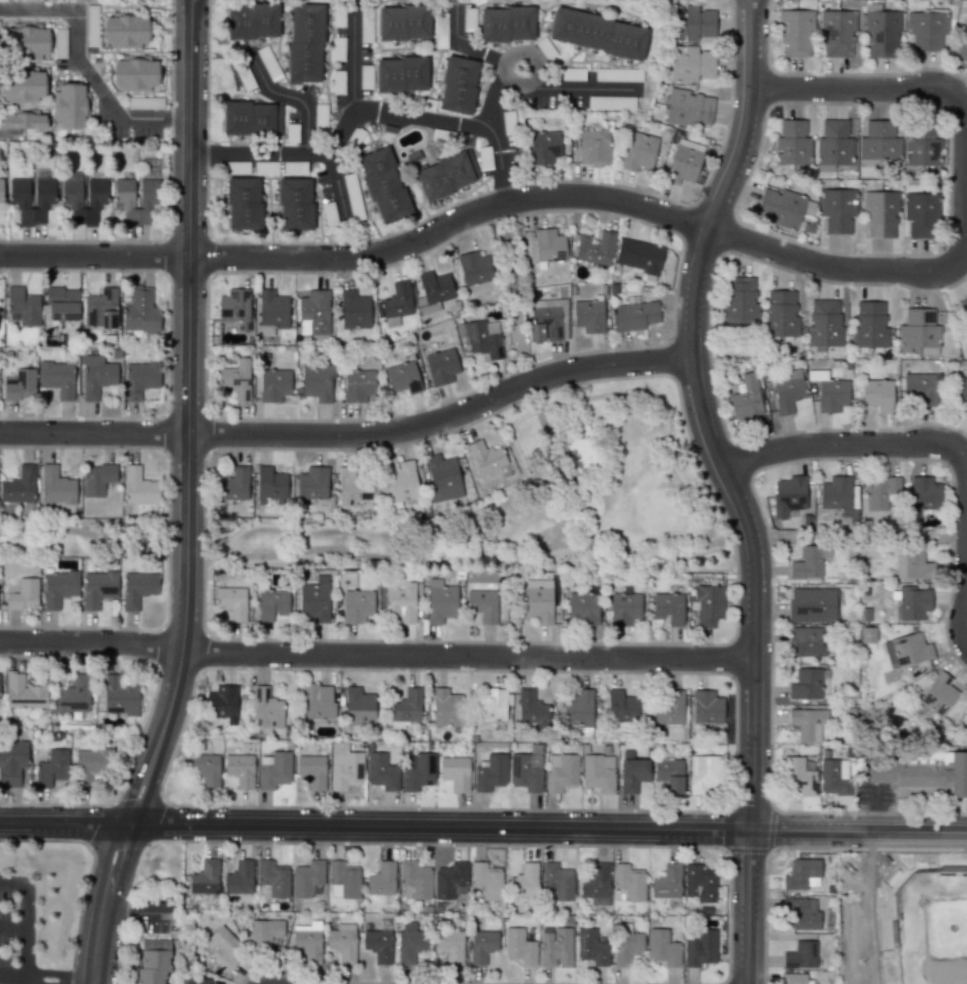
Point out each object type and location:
building: (252, 21)
building: (690, 22)
building: (404, 23)
building: (506, 24)
building: (125, 31)
building: (925, 31)
building: (795, 32)
building: (837, 32)
building: (598, 33)
building: (881, 33)
building: (26, 40)
building: (304, 43)
building: (961, 47)
building: (545, 49)
road: (494, 59)
building: (690, 64)
road: (352, 65)
road: (81, 71)
building: (134, 73)
building: (400, 74)
building: (22, 85)
building: (457, 85)
road: (557, 89)
road: (293, 95)
building: (71, 106)
building: (689, 108)
road: (364, 111)
street lamp: (209, 116)
building: (251, 119)
building: (22, 120)
building: (879, 141)
building: (792, 143)
building: (833, 145)
building: (921, 145)
building: (543, 147)
building: (593, 147)
building: (638, 151)
building: (684, 161)
building: (446, 175)
building: (383, 185)
building: (1, 189)
building: (18, 191)
building: (96, 191)
building: (123, 191)
street lamp: (691, 201)
building: (243, 203)
road: (966, 203)
building: (294, 204)
building: (781, 207)
building: (837, 209)
building: (879, 214)
building: (921, 215)
street lamp: (493, 223)
building: (548, 246)
building: (595, 248)
road: (361, 257)
building: (639, 257)
building: (474, 268)
street lamp: (211, 277)
building: (433, 291)
building: (740, 300)
building: (396, 301)
building: (61, 304)
building: (23, 306)
building: (235, 308)
building: (100, 309)
building: (962, 309)
building: (354, 310)
building: (140, 311)
building: (271, 312)
building: (314, 313)
building: (780, 314)
building: (588, 315)
building: (633, 315)
building: (547, 320)
building: (824, 323)
building: (869, 325)
building: (917, 330)
building: (481, 338)
building: (441, 366)
building: (96, 376)
building: (402, 377)
building: (57, 379)
building: (140, 379)
building: (236, 379)
building: (317, 381)
building: (20, 385)
building: (274, 385)
building: (358, 385)
building: (921, 387)
building: (788, 392)
building: (877, 394)
building: (960, 394)
building: (745, 400)
road: (186, 415)
road: (442, 418)
road: (92, 433)
road: (853, 443)
street lamp: (332, 452)
street lamp: (210, 454)
building: (485, 457)
road: (520, 459)
street lamp: (943, 466)
building: (442, 478)
street lamp: (753, 478)
building: (97, 479)
building: (401, 482)
building: (269, 484)
building: (234, 485)
building: (313, 485)
building: (19, 486)
building: (56, 486)
road: (731, 486)
building: (138, 487)
building: (353, 488)
building: (881, 492)
building: (835, 493)
building: (924, 493)
building: (788, 495)
park: (534, 500)
park: (863, 536)
park: (82, 538)
road: (113, 538)
road: (596, 549)
building: (809, 561)
building: (913, 564)
building: (58, 588)
building: (98, 588)
building: (137, 588)
road: (965, 592)
building: (23, 595)
building: (315, 600)
building: (537, 600)
building: (440, 601)
building: (232, 602)
building: (401, 603)
building: (912, 603)
building: (271, 604)
building: (482, 605)
building: (708, 605)
building: (812, 605)
building: (356, 606)
building: (583, 608)
building: (624, 608)
building: (668, 608)
building: (806, 641)
road: (90, 643)
building: (906, 650)
road: (467, 655)
street lamp: (200, 674)
street lamp: (728, 680)
building: (805, 684)
building: (23, 692)
building: (938, 694)
building: (73, 696)
building: (119, 696)
building: (317, 701)
building: (221, 702)
building: (490, 705)
building: (621, 706)
building: (358, 707)
building: (530, 707)
building: (667, 707)
building: (707, 707)
building: (405, 708)
building: (446, 708)
building: (577, 708)
building: (268, 712)
building: (808, 723)
building: (11, 762)
building: (90, 765)
building: (344, 766)
building: (51, 768)
building: (206, 769)
building: (239, 770)
building: (274, 770)
building: (311, 770)
building: (526, 771)
building: (922, 771)
building: (381, 772)
building: (418, 772)
building: (455, 772)
building: (490, 772)
building: (560, 772)
building: (598, 772)
building: (632, 772)
building: (703, 772)
building: (669, 774)
building: (798, 776)
building: (834, 777)
road: (63, 822)
road: (438, 826)
road: (857, 831)
street lamp: (221, 844)
street lamp: (396, 845)
street lamp: (150, 846)
street lamp: (575, 848)
street lamp: (962, 850)
building: (801, 874)
building: (204, 878)
building: (239, 878)
building: (273, 878)
building: (307, 878)
building: (343, 879)
building: (381, 879)
building: (415, 879)
building: (450, 880)
building: (486, 880)
building: (524, 881)
building: (558, 881)
building: (629, 881)
building: (666, 882)
building: (699, 883)
building: (596, 885)
road: (103, 901)
road: (867, 908)
road: (137, 909)
building: (802, 913)
road: (25, 920)
park: (933, 926)
road: (12, 931)
building: (264, 932)
building: (342, 942)
building: (307, 944)
building: (626, 944)
building: (378, 945)
building: (410, 945)
building: (449, 945)
building: (482, 946)
building: (519, 947)
building: (556, 947)
building: (591, 947)
building: (223, 948)
building: (662, 948)
building: (700, 948)
building: (800, 955)
building: (153, 962)
building: (793, 978)
road: (39, 981)
building: (201, 981)
road: (23, 982)

